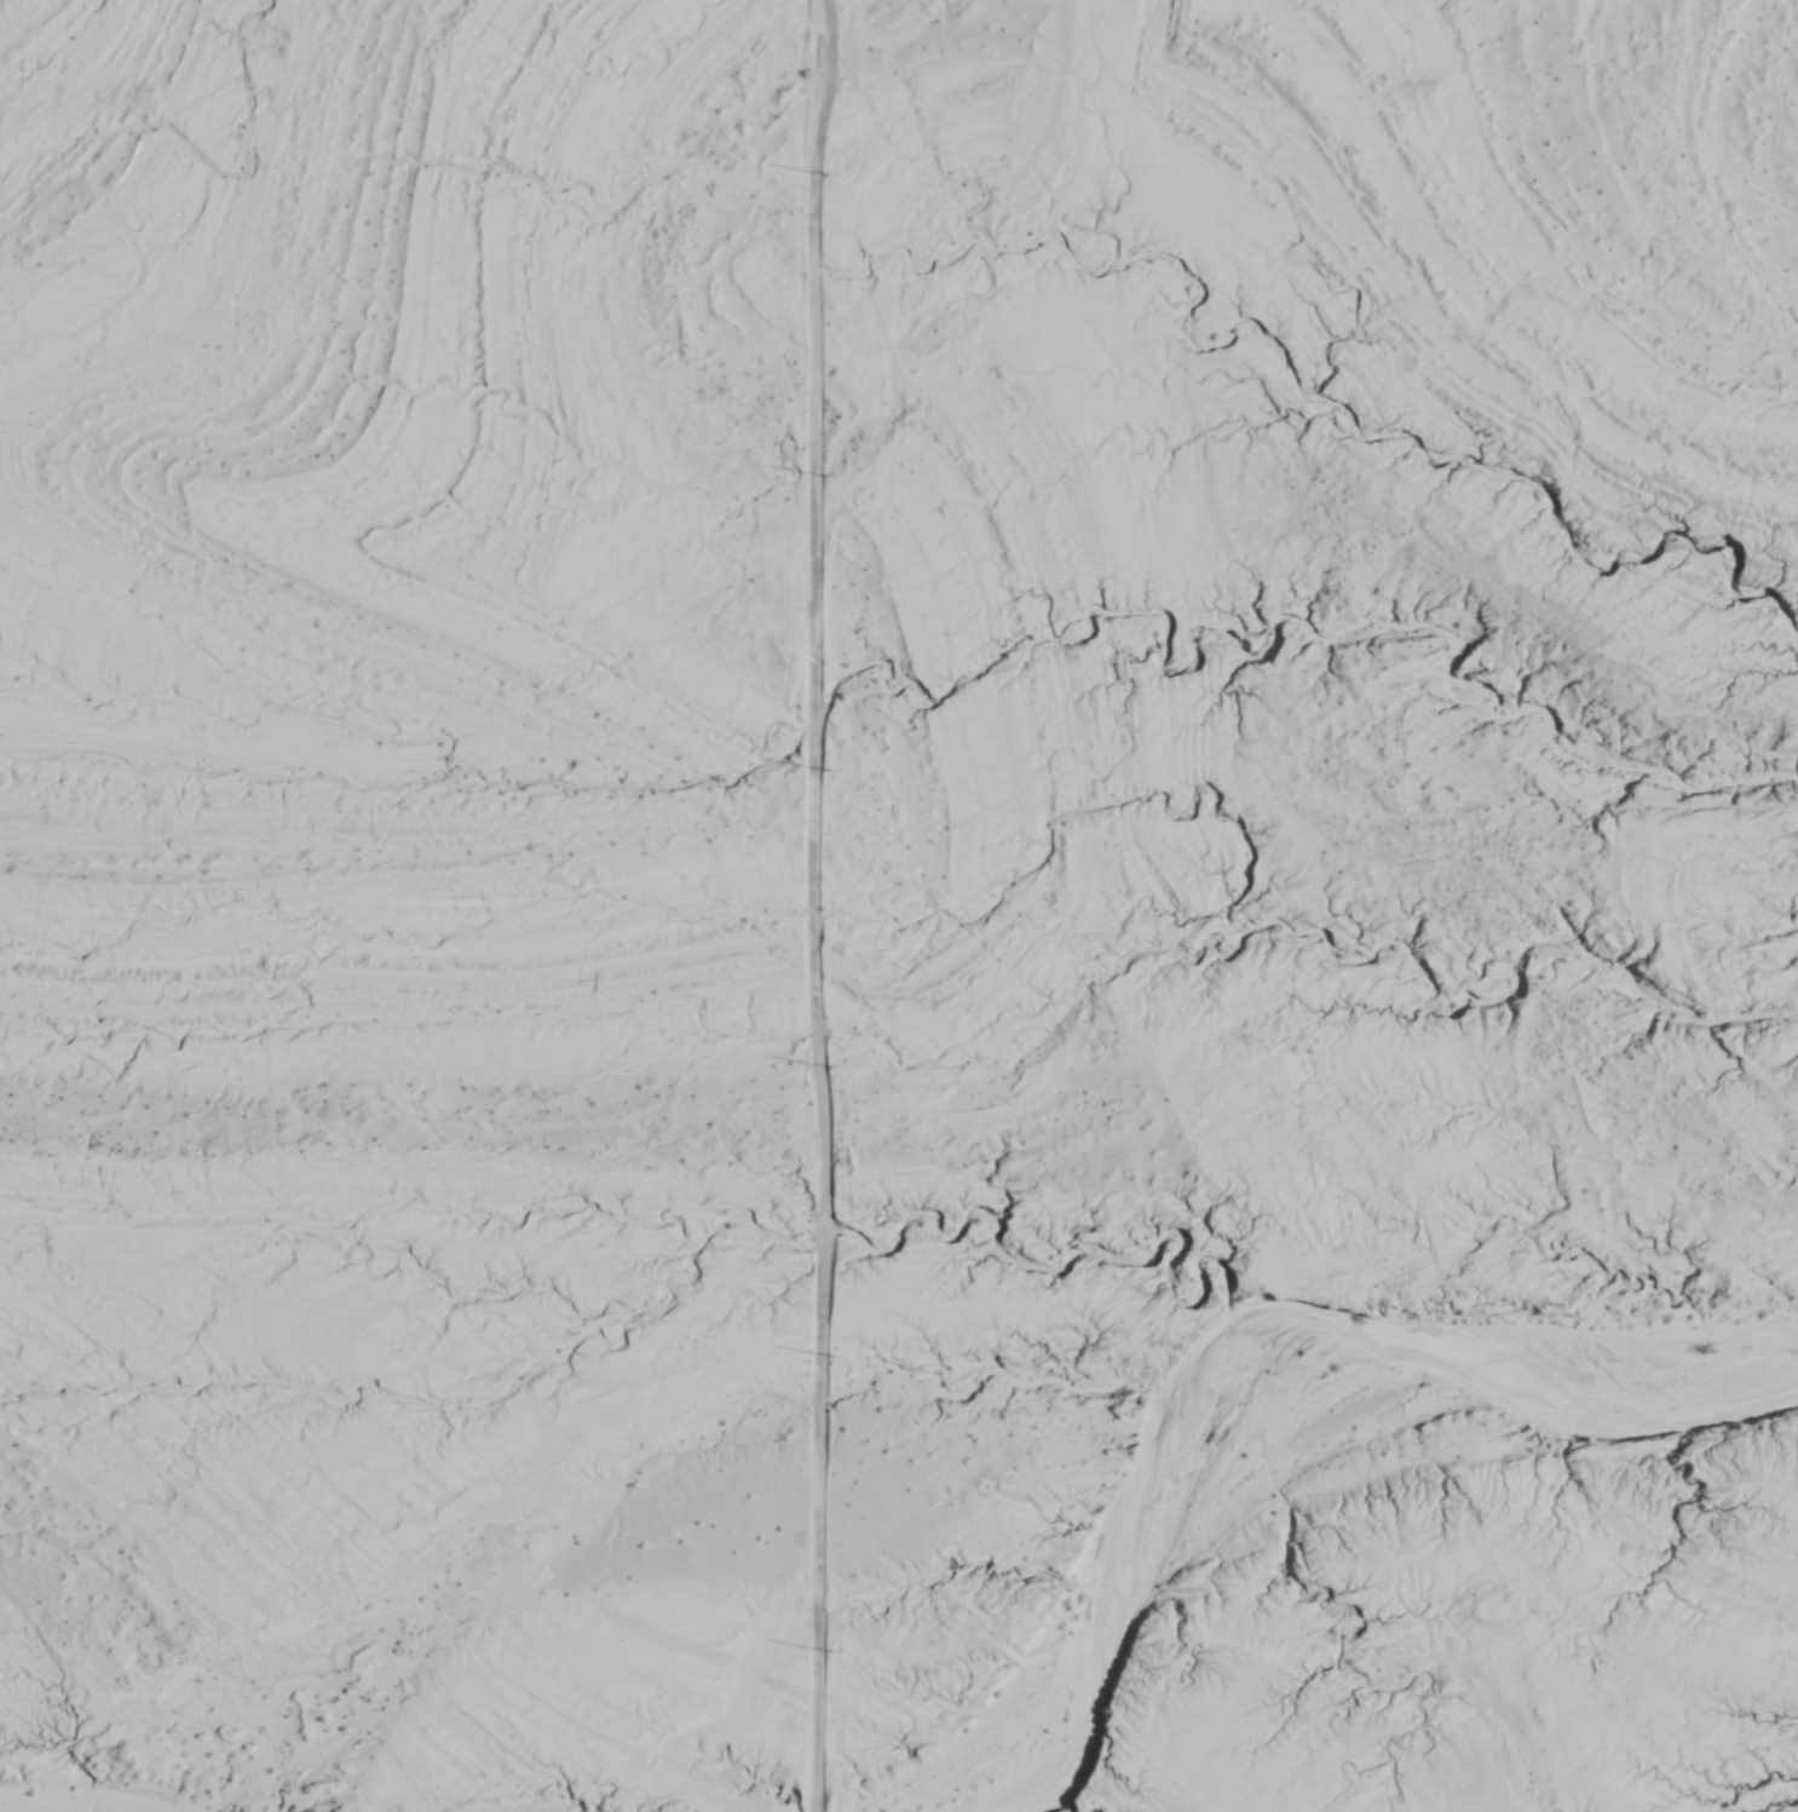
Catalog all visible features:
road: (814, 905)
road: (1250, 1316)

